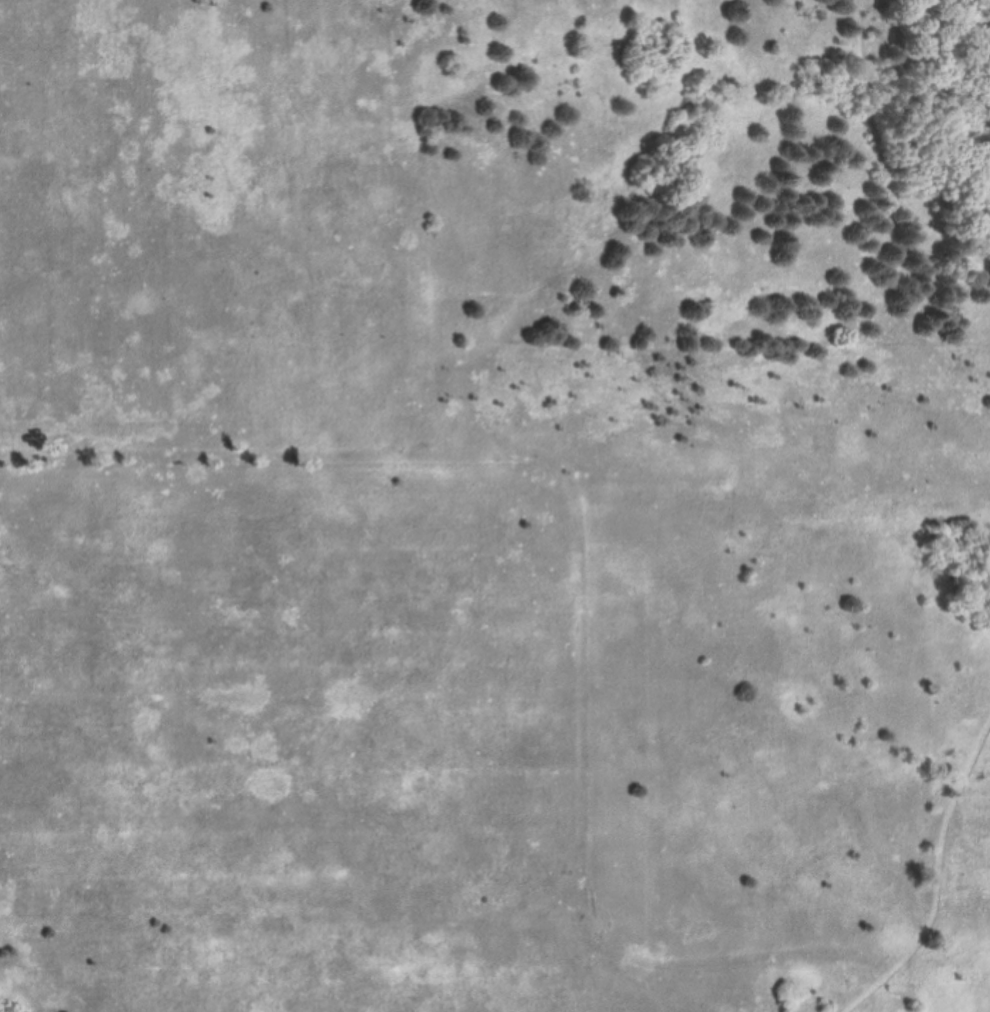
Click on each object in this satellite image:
road: (886, 158)
road: (945, 201)
park: (495, 506)
road: (943, 890)
road: (3, 1009)

